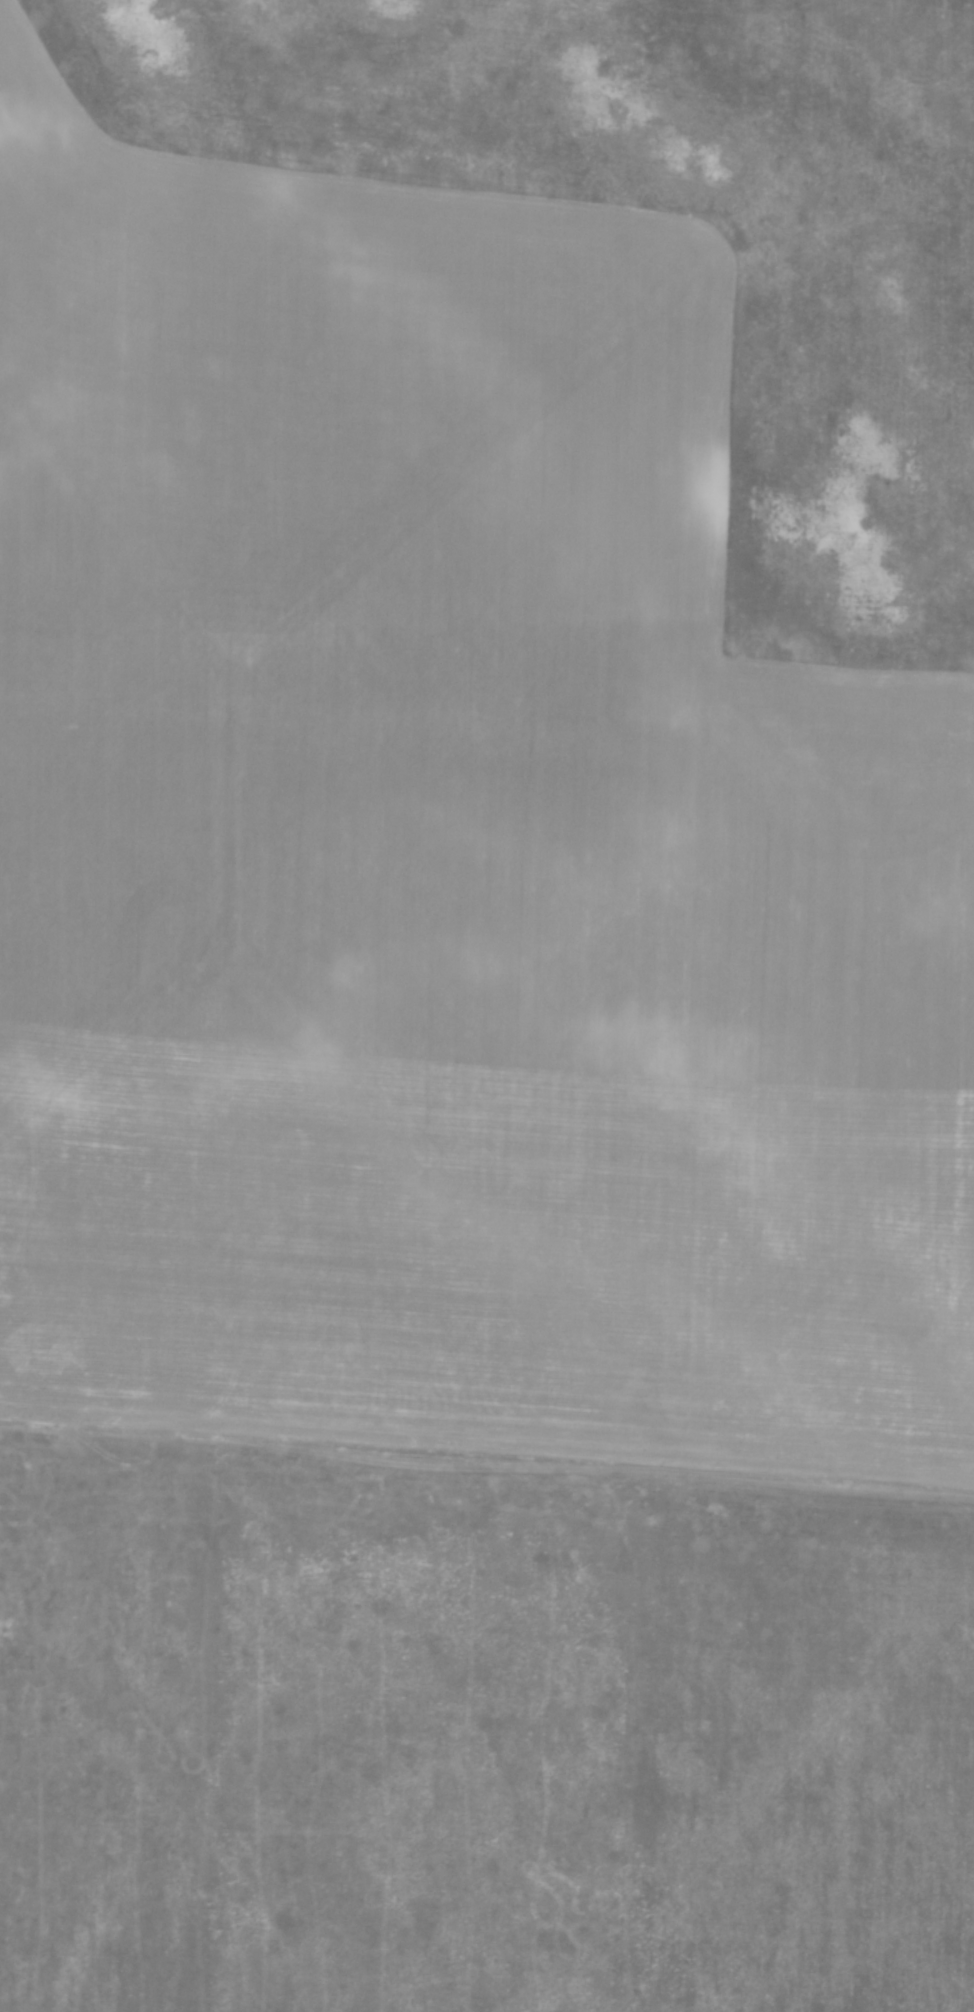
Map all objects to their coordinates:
crop: (445, 839)
road: (487, 1452)

